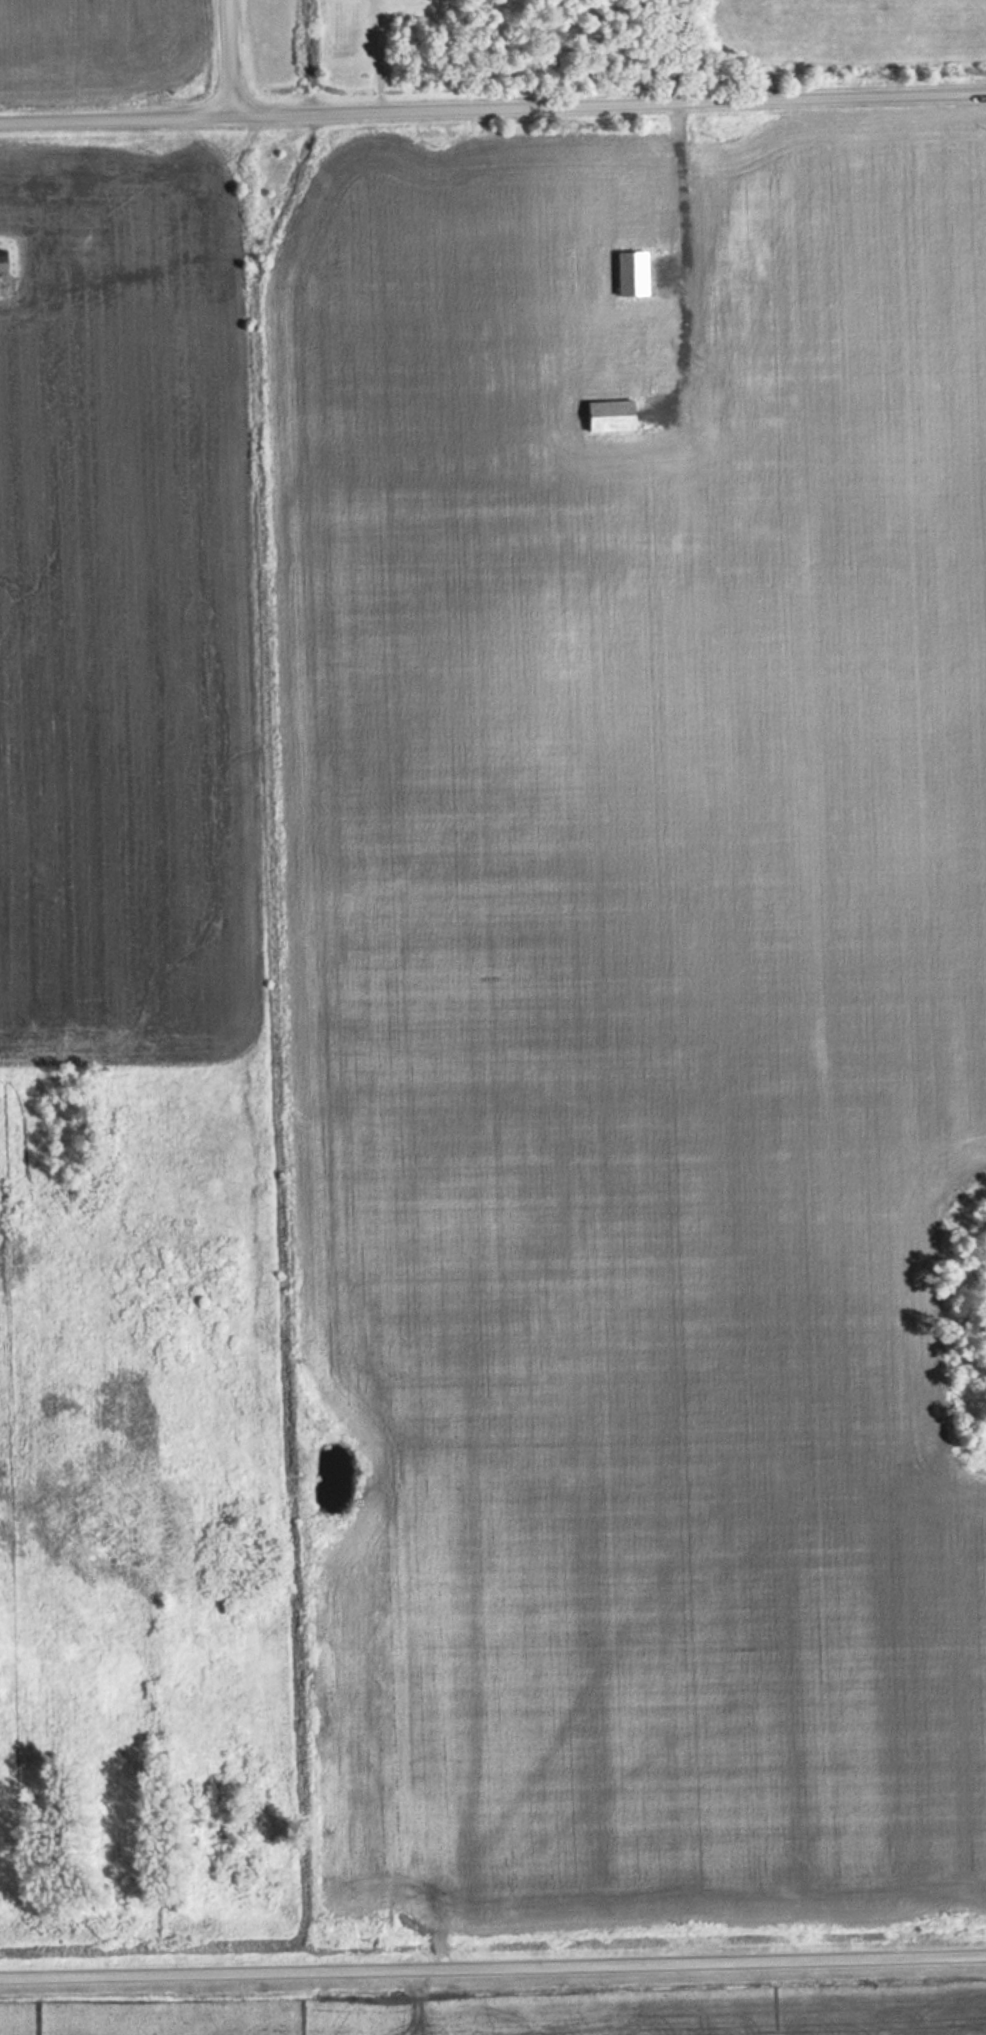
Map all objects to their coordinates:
road: (225, 56)
road: (492, 104)
road: (691, 260)
building: (8, 263)
building: (637, 273)
building: (616, 414)
road: (493, 1962)

